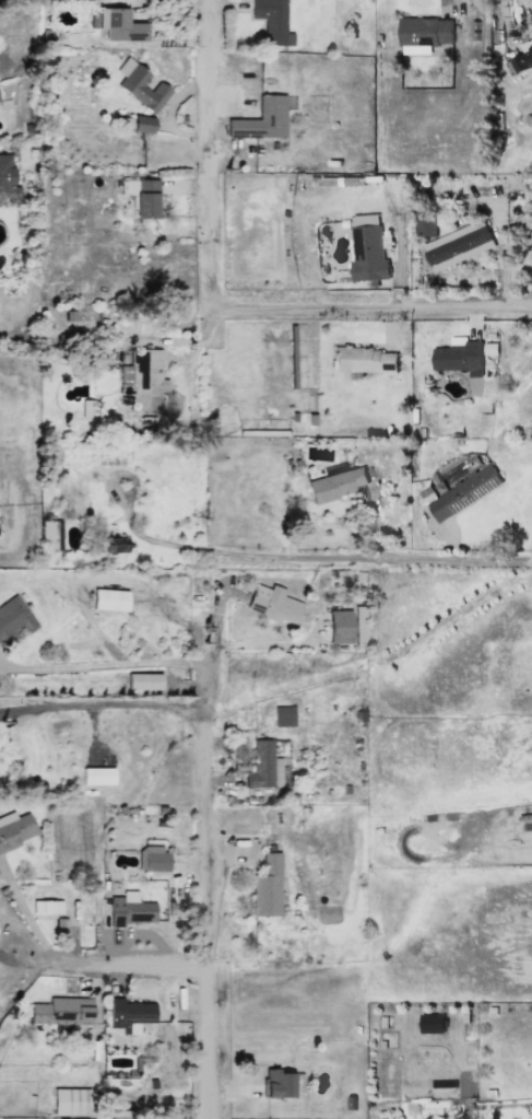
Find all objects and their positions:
building: (271, 22)
building: (116, 25)
building: (424, 33)
building: (523, 57)
building: (139, 86)
building: (261, 120)
building: (141, 124)
road: (214, 136)
building: (7, 180)
building: (141, 197)
building: (366, 219)
building: (425, 223)
building: (458, 244)
building: (369, 254)
road: (355, 315)
building: (460, 355)
building: (364, 360)
building: (141, 381)
building: (475, 386)
building: (86, 408)
building: (335, 485)
building: (463, 492)
building: (50, 535)
building: (115, 545)
road: (354, 561)
building: (109, 599)
building: (273, 604)
building: (13, 620)
building: (358, 626)
building: (339, 627)
road: (105, 665)
building: (142, 681)
road: (106, 703)
building: (283, 716)
building: (263, 767)
building: (96, 776)
building: (14, 830)
road: (204, 847)
building: (152, 859)
building: (267, 887)
building: (46, 907)
building: (129, 910)
road: (27, 914)
road: (116, 966)
building: (59, 1012)
building: (129, 1015)
building: (431, 1023)
building: (277, 1084)
building: (70, 1101)

